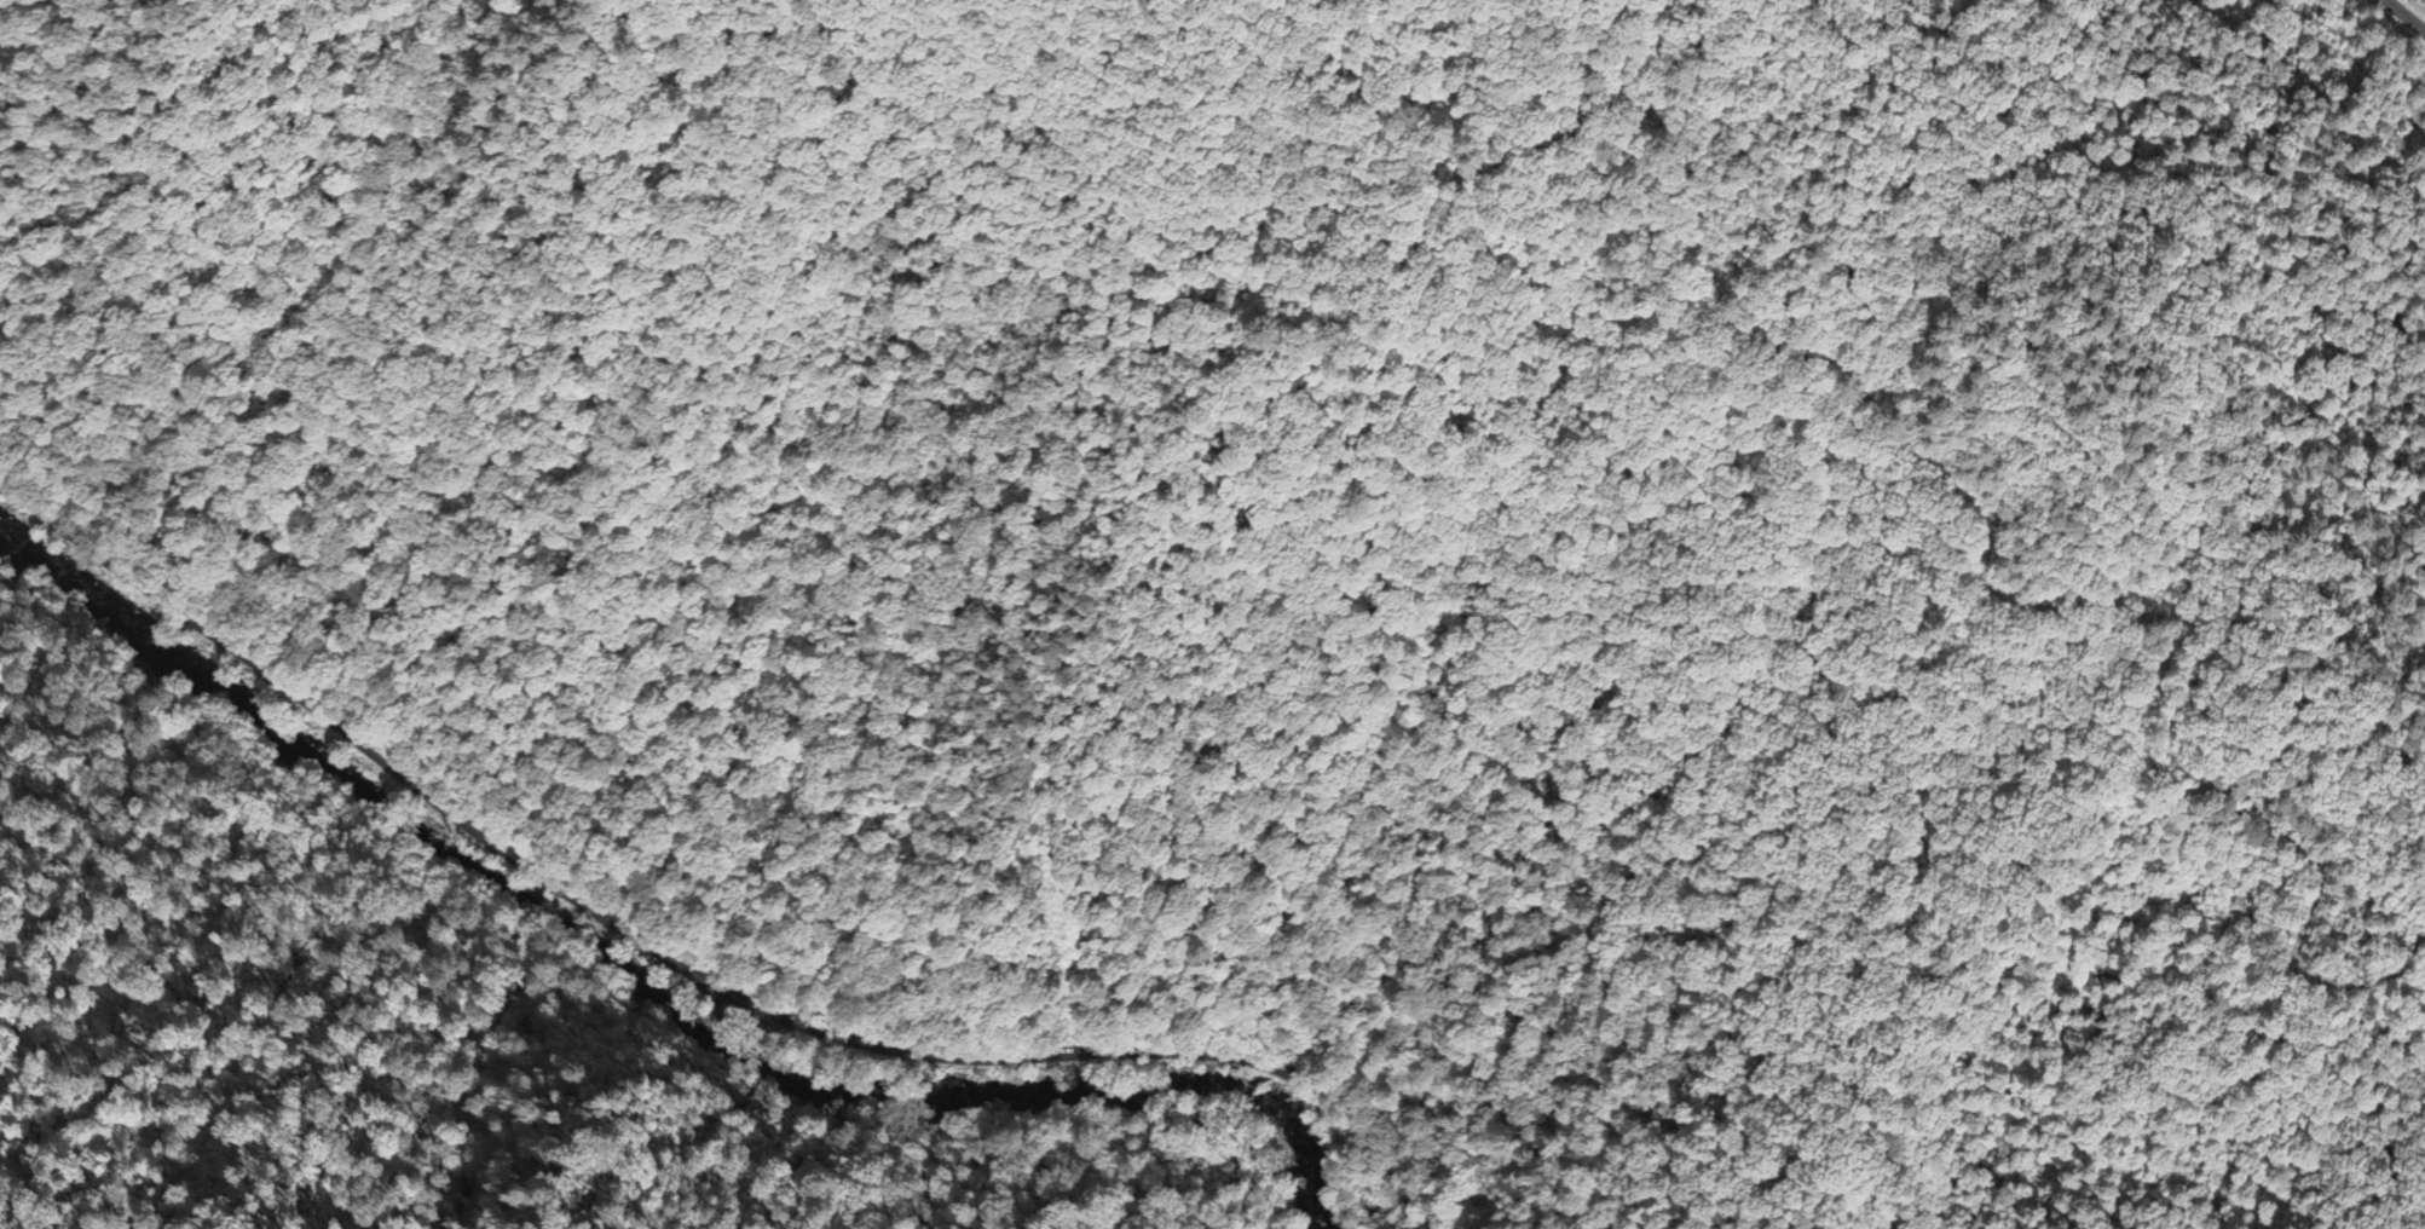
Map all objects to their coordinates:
road: (2406, 16)
road: (670, 959)
river: (635, 980)

